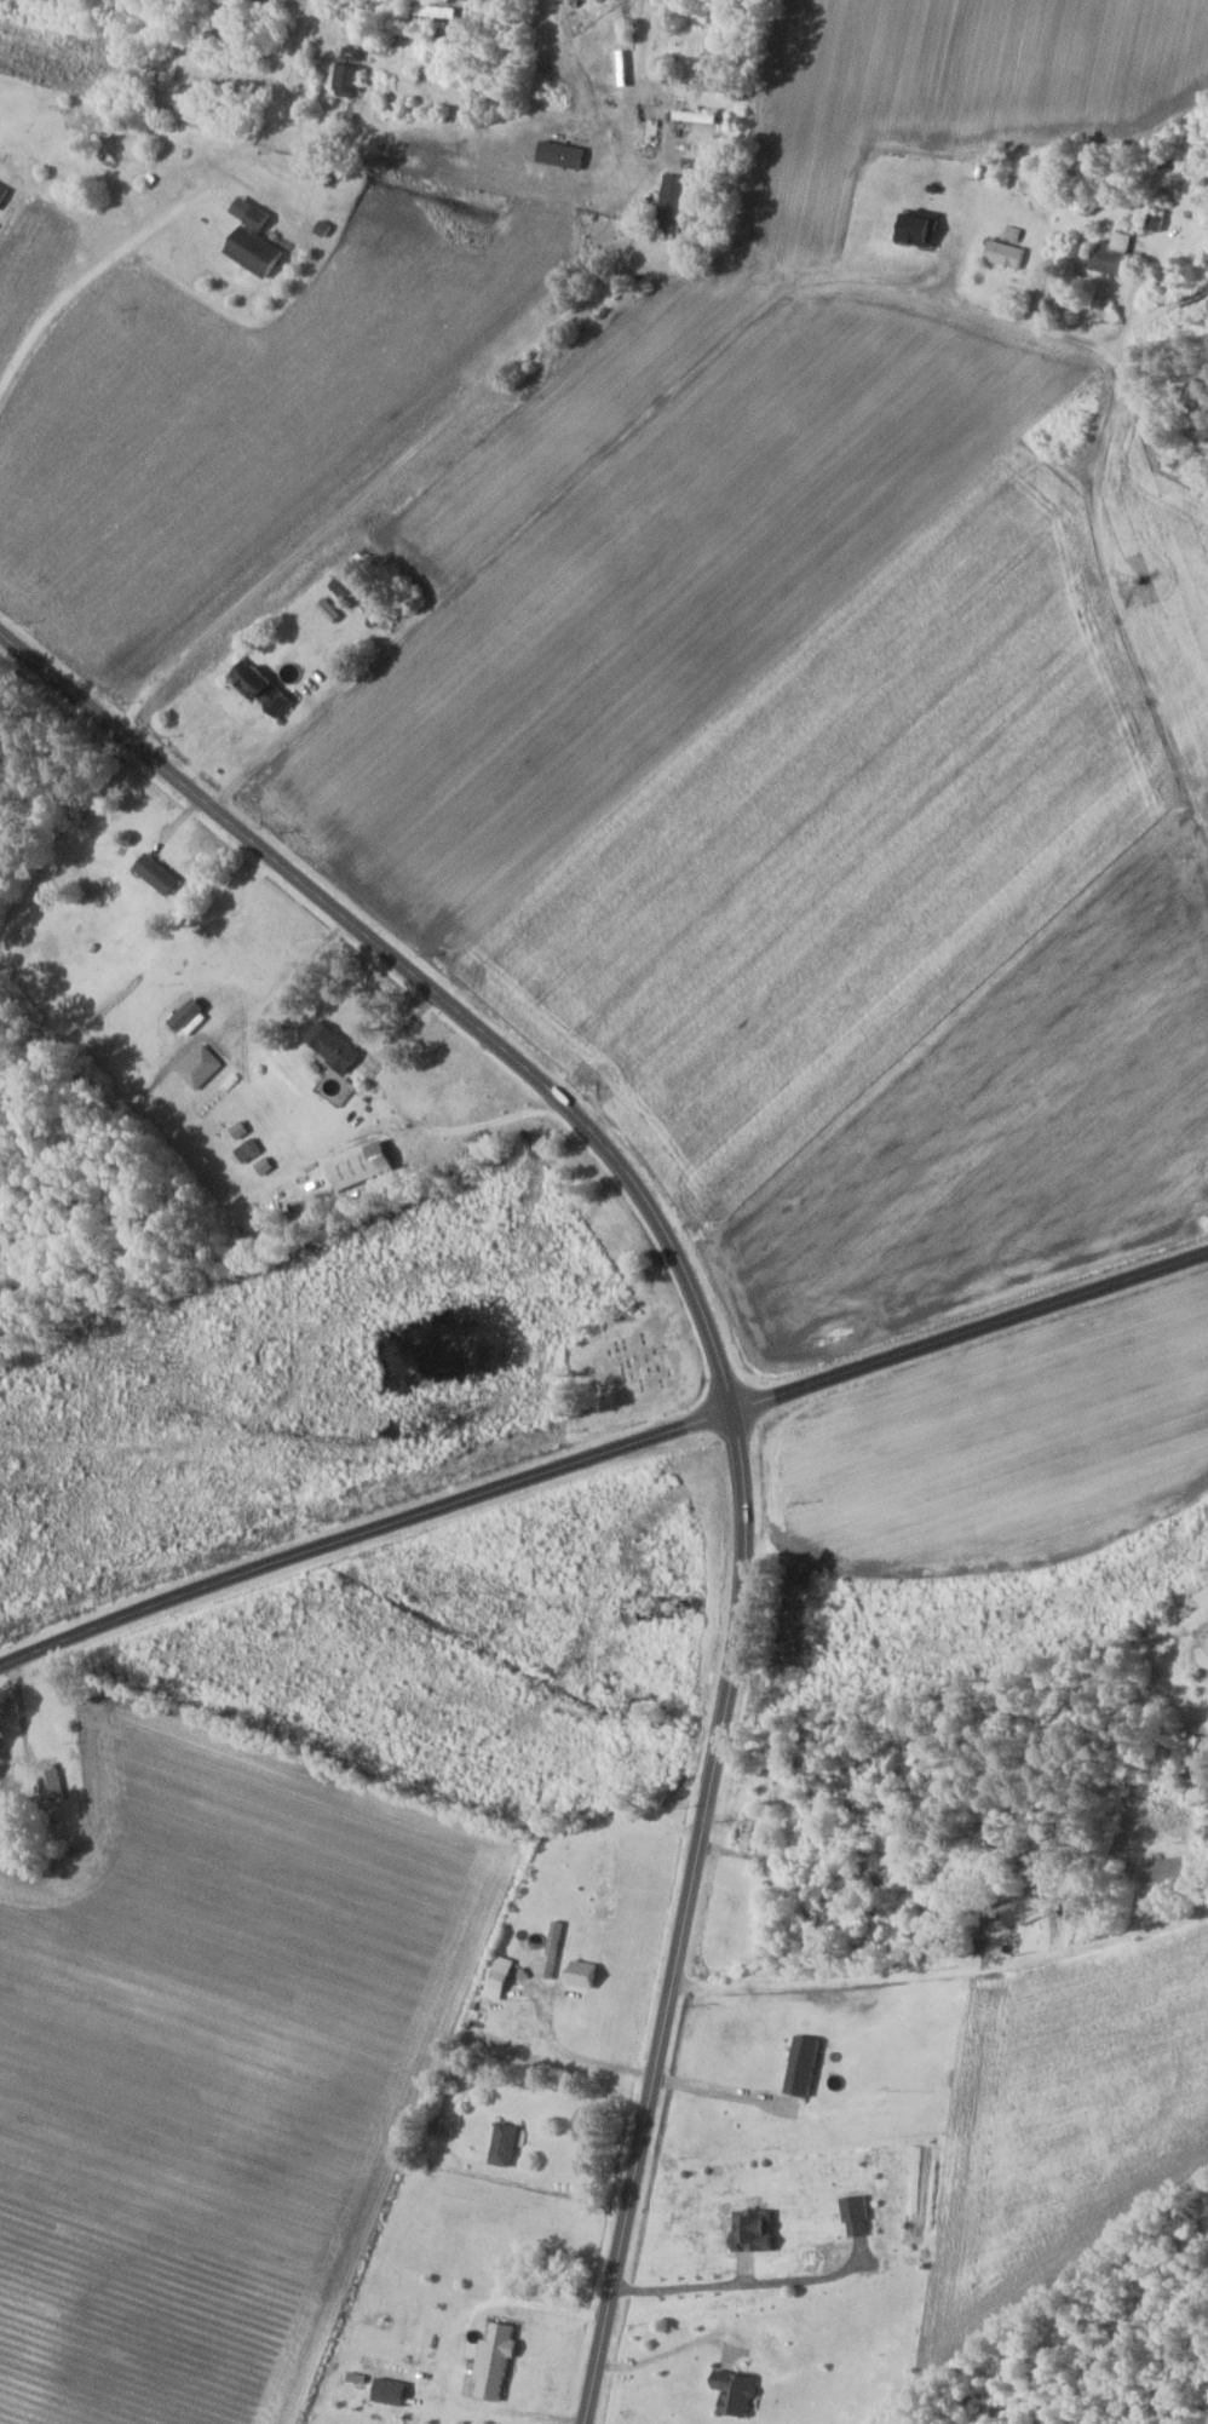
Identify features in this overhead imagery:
building: (438, 11)
building: (357, 53)
building: (353, 79)
building: (700, 115)
building: (5, 191)
road: (12, 202)
building: (675, 202)
building: (1150, 220)
building: (915, 228)
building: (260, 239)
building: (1000, 253)
building: (1112, 255)
road: (686, 260)
building: (350, 585)
road: (1149, 689)
building: (272, 690)
building: (161, 873)
building: (235, 965)
building: (338, 1045)
building: (367, 1164)
park: (621, 1366)
road: (724, 1379)
road: (602, 1451)
building: (1207, 1626)
building: (53, 1781)
building: (741, 1831)
building: (1157, 1871)
road: (945, 1965)
building: (511, 2143)
building: (744, 2230)
building: (501, 2359)
building: (738, 2390)

